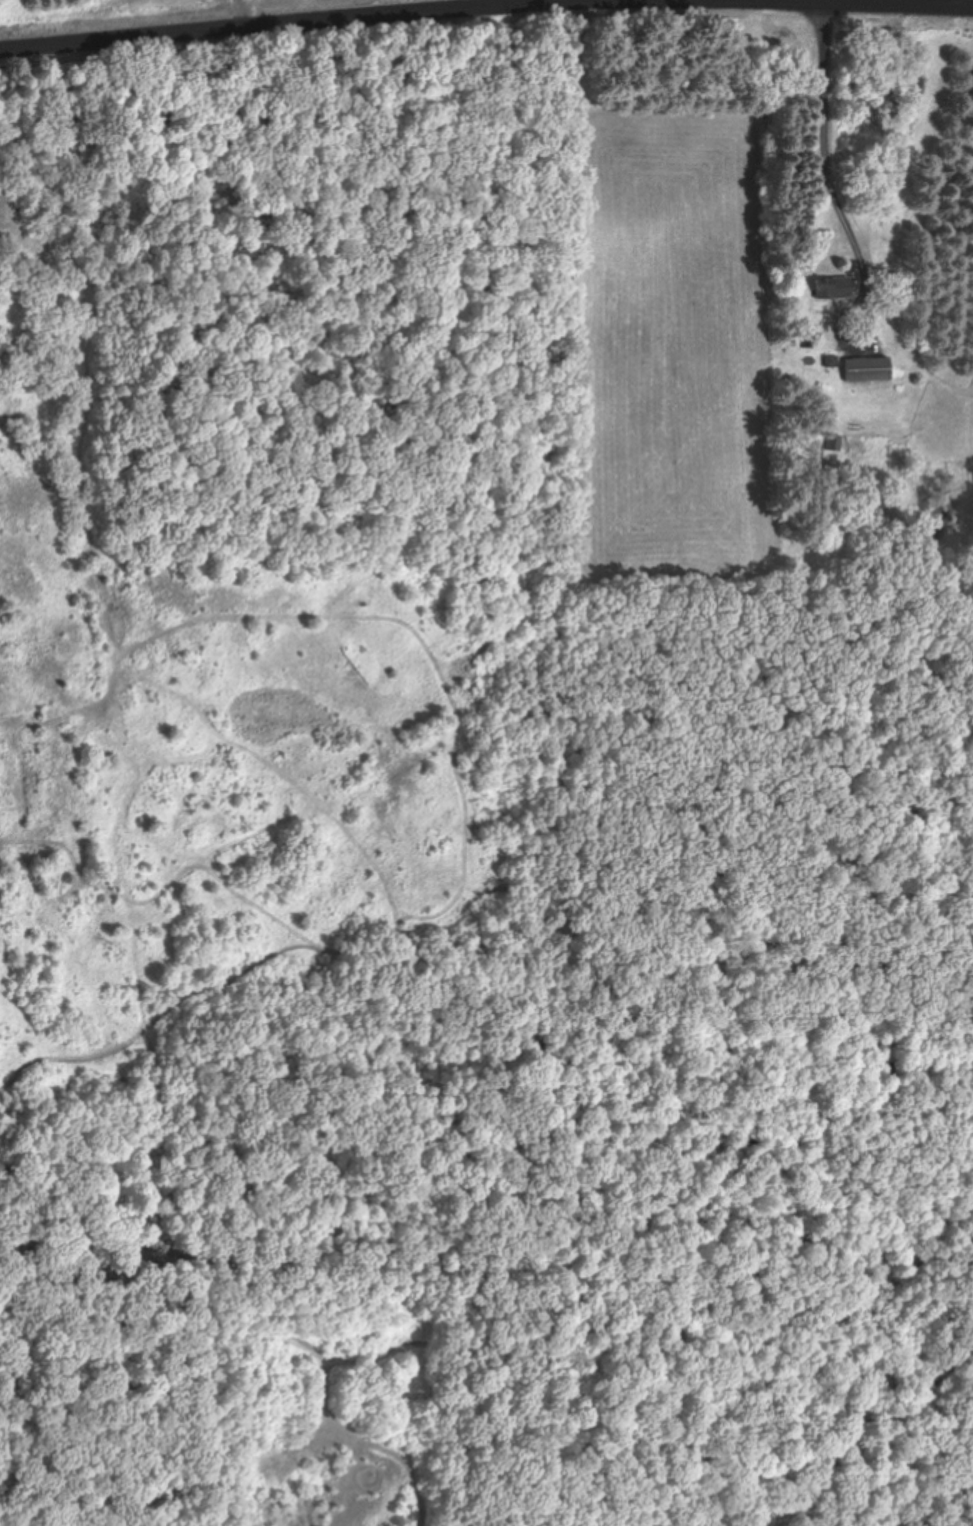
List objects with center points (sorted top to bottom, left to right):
road: (923, 1)
road: (245, 18)
building: (830, 289)
building: (866, 371)
building: (833, 444)
crop: (206, 773)

